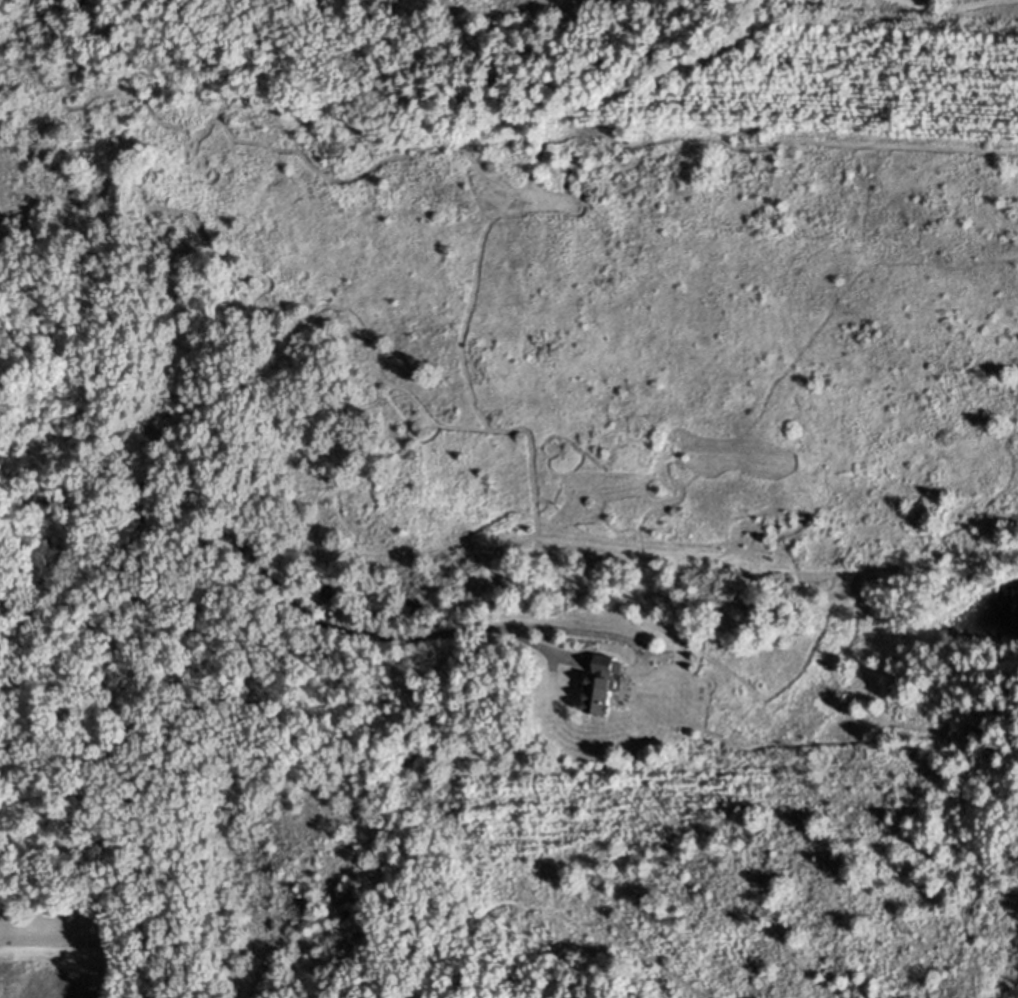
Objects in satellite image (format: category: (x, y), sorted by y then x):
road: (269, 574)
building: (597, 686)

